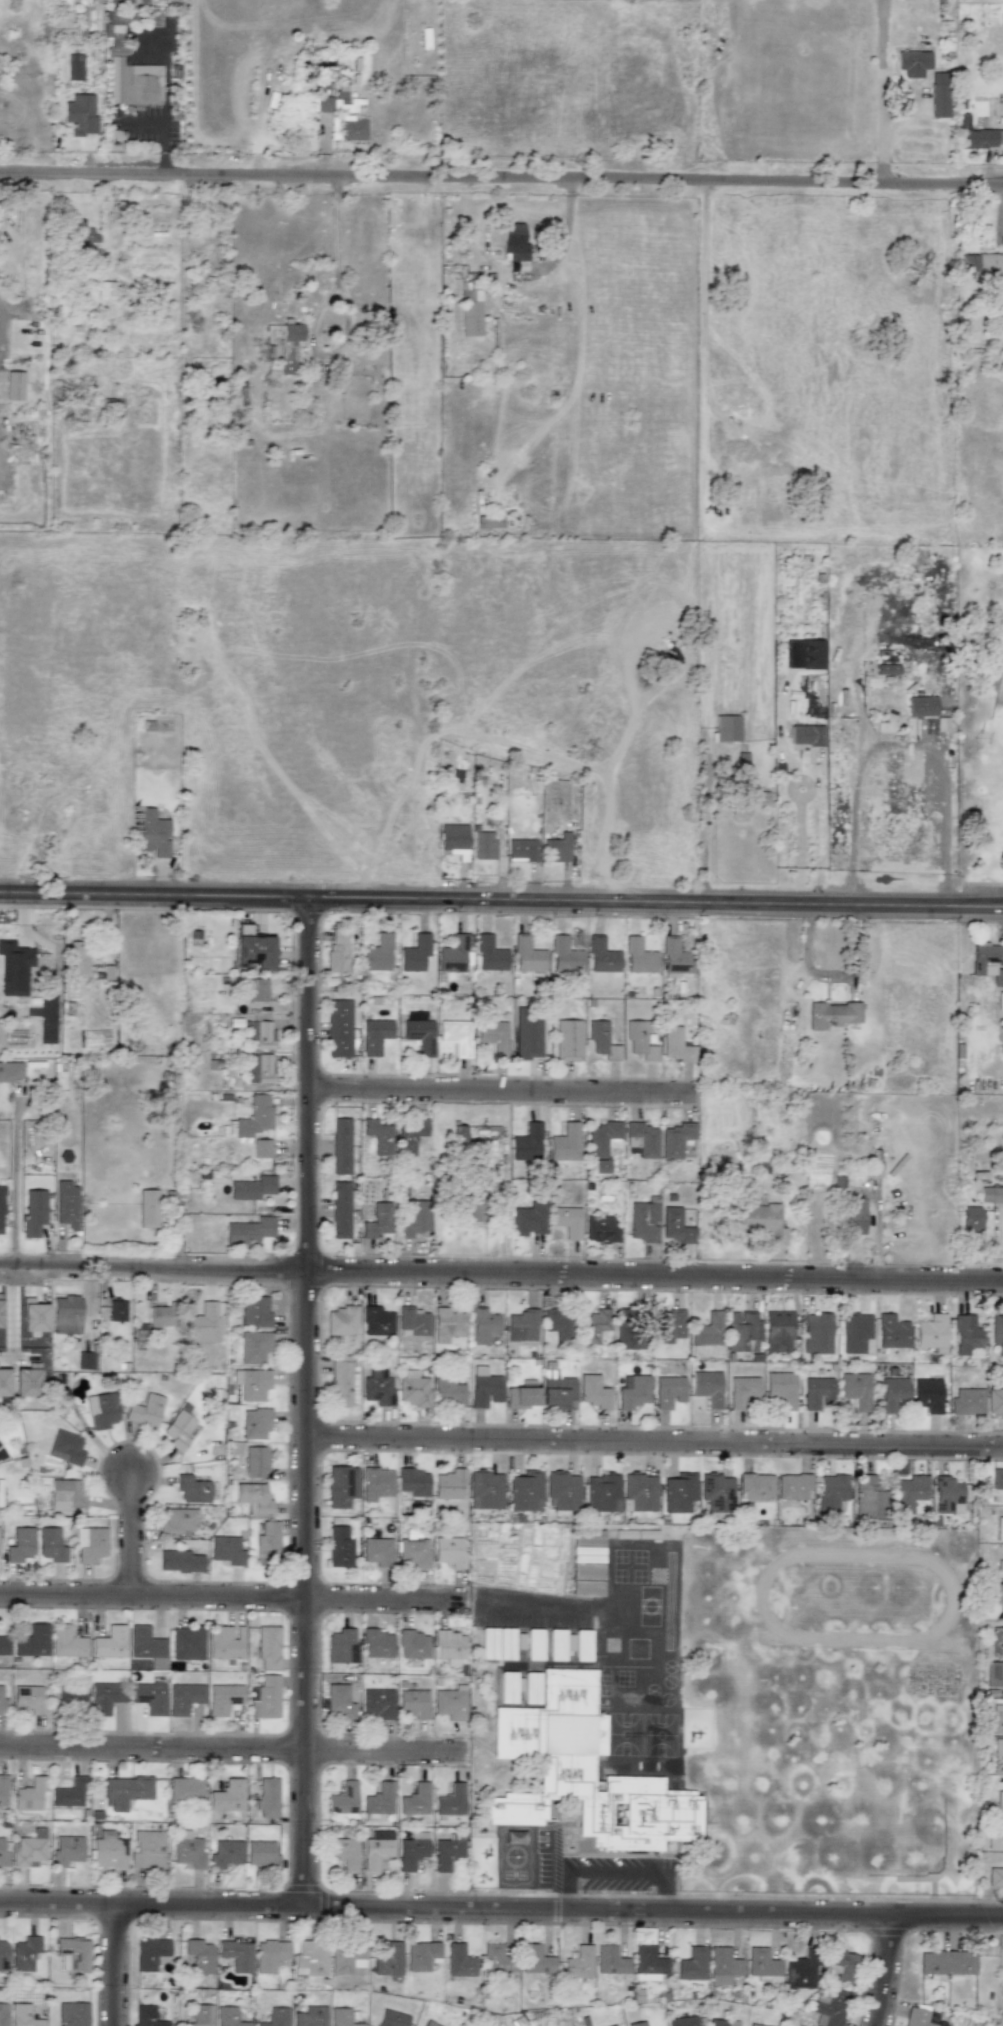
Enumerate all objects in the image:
building: (113, 26)
building: (912, 63)
road: (164, 66)
building: (74, 67)
building: (134, 83)
building: (324, 88)
road: (881, 91)
building: (939, 95)
building: (311, 104)
building: (333, 105)
building: (81, 114)
road: (143, 121)
building: (352, 128)
building: (977, 135)
road: (163, 136)
road: (161, 162)
road: (501, 177)
building: (80, 233)
building: (514, 241)
road: (19, 252)
building: (979, 265)
building: (105, 288)
building: (470, 309)
road: (316, 315)
building: (999, 319)
building: (288, 347)
building: (811, 654)
building: (887, 669)
building: (921, 706)
park: (978, 725)
building: (727, 728)
building: (806, 734)
road: (903, 747)
building: (750, 803)
building: (153, 833)
building: (453, 838)
road: (798, 844)
building: (484, 845)
building: (557, 848)
building: (522, 849)
road: (704, 849)
road: (501, 896)
building: (337, 950)
building: (415, 953)
building: (378, 954)
building: (455, 954)
building: (490, 955)
building: (527, 955)
building: (602, 956)
building: (639, 957)
building: (78, 958)
building: (675, 958)
building: (986, 963)
building: (14, 968)
building: (255, 990)
building: (832, 1014)
building: (339, 1028)
building: (260, 1034)
building: (419, 1035)
building: (375, 1036)
building: (456, 1036)
building: (494, 1036)
building: (15, 1037)
building: (527, 1037)
building: (568, 1040)
building: (602, 1041)
building: (639, 1041)
building: (73, 1042)
building: (675, 1045)
building: (261, 1068)
building: (11, 1072)
road: (502, 1091)
building: (255, 1116)
building: (410, 1135)
building: (379, 1136)
building: (642, 1139)
building: (675, 1140)
building: (527, 1142)
building: (565, 1143)
building: (602, 1143)
building: (341, 1145)
building: (261, 1148)
building: (252, 1188)
road: (13, 1189)
building: (991, 1194)
building: (66, 1205)
building: (148, 1208)
building: (471, 1209)
building: (340, 1210)
building: (2, 1211)
building: (34, 1213)
building: (854, 1217)
building: (971, 1219)
building: (528, 1220)
building: (377, 1221)
building: (414, 1221)
building: (567, 1221)
building: (643, 1221)
building: (763, 1222)
building: (675, 1227)
building: (601, 1229)
building: (249, 1231)
road: (501, 1271)
building: (117, 1311)
building: (255, 1311)
building: (66, 1315)
building: (33, 1316)
building: (161, 1316)
building: (341, 1321)
building: (414, 1321)
building: (377, 1322)
building: (203, 1323)
building: (558, 1323)
building: (447, 1325)
building: (594, 1325)
building: (483, 1326)
building: (522, 1326)
building: (667, 1326)
building: (627, 1330)
building: (778, 1331)
building: (931, 1331)
building: (741, 1332)
building: (892, 1332)
building: (855, 1333)
building: (997, 1333)
building: (816, 1334)
building: (966, 1335)
building: (707, 1337)
building: (254, 1346)
building: (85, 1361)
building: (252, 1384)
building: (343, 1384)
building: (377, 1388)
building: (484, 1388)
building: (707, 1388)
building: (781, 1388)
building: (413, 1389)
building: (856, 1389)
building: (557, 1391)
building: (742, 1391)
building: (447, 1392)
building: (593, 1392)
building: (632, 1392)
building: (668, 1392)
building: (817, 1393)
building: (892, 1393)
building: (927, 1395)
building: (521, 1398)
road: (305, 1399)
building: (967, 1401)
building: (994, 1401)
building: (102, 1411)
building: (146, 1411)
building: (255, 1424)
building: (178, 1430)
road: (654, 1441)
building: (66, 1447)
building: (256, 1461)
building: (378, 1481)
building: (414, 1482)
building: (449, 1484)
building: (341, 1486)
building: (755, 1486)
building: (996, 1486)
building: (793, 1487)
building: (192, 1489)
building: (485, 1490)
building: (526, 1491)
building: (563, 1491)
building: (679, 1492)
building: (717, 1492)
building: (908, 1492)
building: (0, 1493)
building: (602, 1493)
building: (639, 1493)
building: (831, 1494)
building: (66, 1495)
building: (947, 1496)
building: (254, 1498)
building: (868, 1499)
building: (178, 1521)
building: (999, 1529)
road: (129, 1533)
building: (588, 1538)
building: (267, 1543)
building: (51, 1544)
building: (90, 1544)
building: (21, 1545)
building: (340, 1546)
building: (227, 1550)
building: (377, 1551)
building: (413, 1551)
building: (449, 1551)
building: (587, 1554)
building: (181, 1561)
building: (1000, 1565)
building: (587, 1580)
road: (235, 1595)
building: (996, 1595)
road: (528, 1603)
building: (32, 1641)
building: (66, 1642)
building: (997, 1642)
building: (110, 1643)
building: (225, 1643)
building: (377, 1643)
building: (497, 1643)
building: (146, 1644)
building: (187, 1644)
building: (534, 1644)
building: (556, 1644)
building: (4, 1645)
building: (339, 1645)
building: (413, 1645)
building: (582, 1645)
building: (450, 1647)
building: (268, 1648)
building: (994, 1675)
building: (149, 1696)
building: (268, 1696)
building: (70, 1697)
building: (105, 1697)
building: (184, 1698)
building: (223, 1698)
building: (28, 1699)
building: (339, 1701)
building: (2, 1702)
building: (378, 1703)
building: (450, 1703)
building: (413, 1704)
building: (994, 1719)
road: (235, 1748)
building: (998, 1749)
building: (583, 1773)
building: (3, 1790)
building: (185, 1790)
building: (125, 1791)
building: (30, 1794)
building: (69, 1794)
building: (227, 1796)
building: (267, 1797)
building: (343, 1799)
building: (379, 1799)
building: (415, 1800)
building: (451, 1801)
building: (999, 1801)
building: (996, 1838)
road: (555, 1848)
building: (30, 1849)
building: (187, 1849)
building: (376, 1849)
building: (67, 1850)
building: (147, 1850)
building: (412, 1850)
building: (448, 1851)
building: (343, 1852)
building: (109, 1853)
building: (3, 1854)
building: (225, 1854)
building: (261, 1854)
road: (610, 1871)
building: (995, 1877)
road: (553, 1888)
road: (665, 1891)
road: (501, 1907)
building: (25, 1953)
building: (150, 1953)
building: (73, 1954)
building: (3, 1955)
building: (236, 1955)
building: (270, 1955)
building: (421, 1955)
building: (200, 1956)
building: (497, 1957)
building: (311, 1959)
building: (346, 1959)
building: (388, 1960)
building: (535, 1960)
building: (459, 1961)
building: (611, 1961)
building: (579, 1963)
building: (648, 1963)
building: (947, 1963)
road: (113, 1964)
building: (692, 1964)
building: (762, 1964)
building: (842, 1965)
building: (723, 1966)
road: (885, 1969)
building: (800, 1973)
building: (831, 2008)
building: (3, 2014)
building: (73, 2014)
building: (201, 2015)
building: (23, 2016)
building: (147, 2016)
building: (310, 2016)
building: (229, 2017)
building: (276, 2017)
building: (341, 2017)
building: (916, 2017)
building: (392, 2018)
building: (683, 2021)
building: (518, 2022)
building: (723, 2022)
building: (429, 2023)
building: (637, 2024)
building: (613, 2025)
building: (754, 2025)

